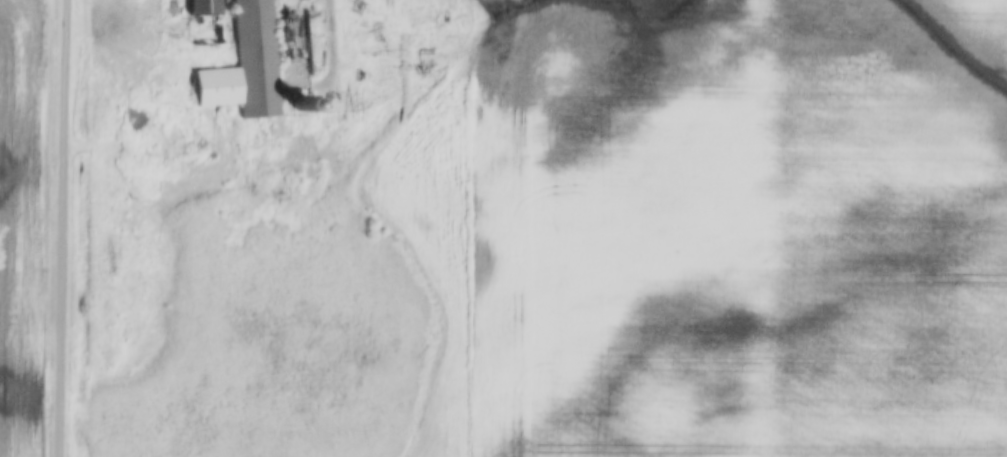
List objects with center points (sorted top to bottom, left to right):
building: (203, 6)
building: (245, 68)
building: (301, 105)
silo: (301, 105)
road: (66, 228)

